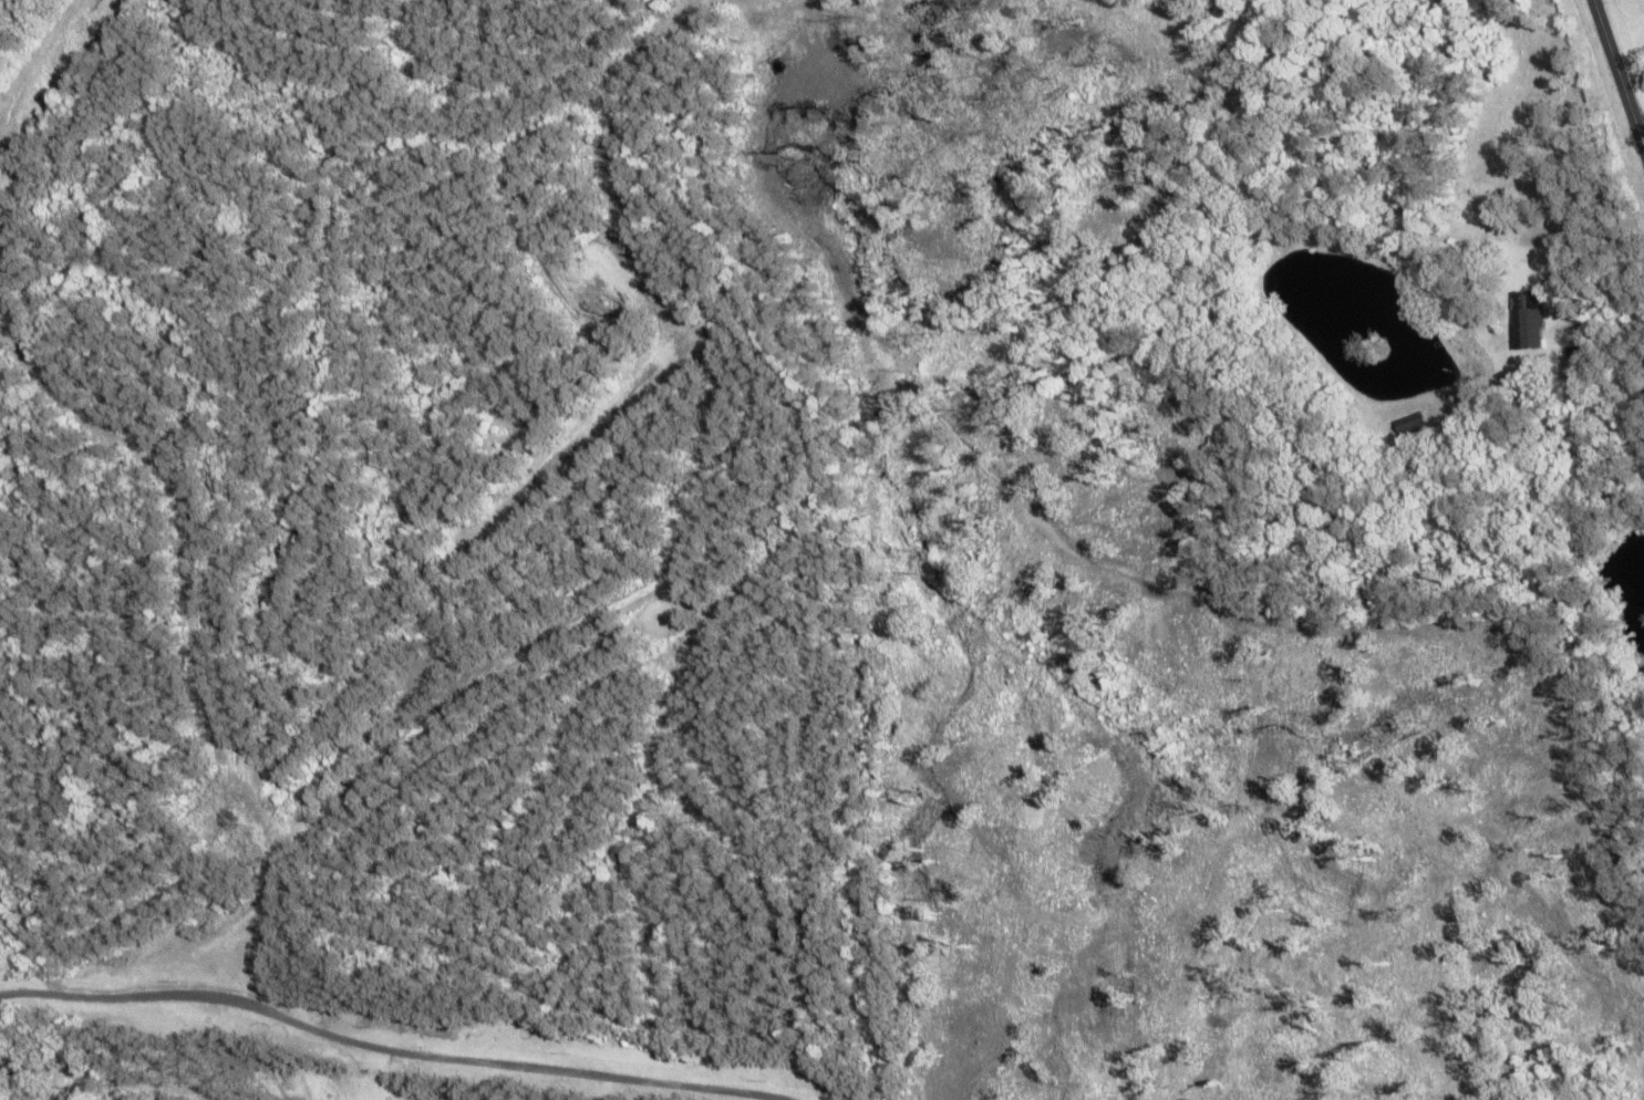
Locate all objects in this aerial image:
road: (1619, 75)
building: (1529, 322)
building: (1576, 361)
building: (1407, 426)

